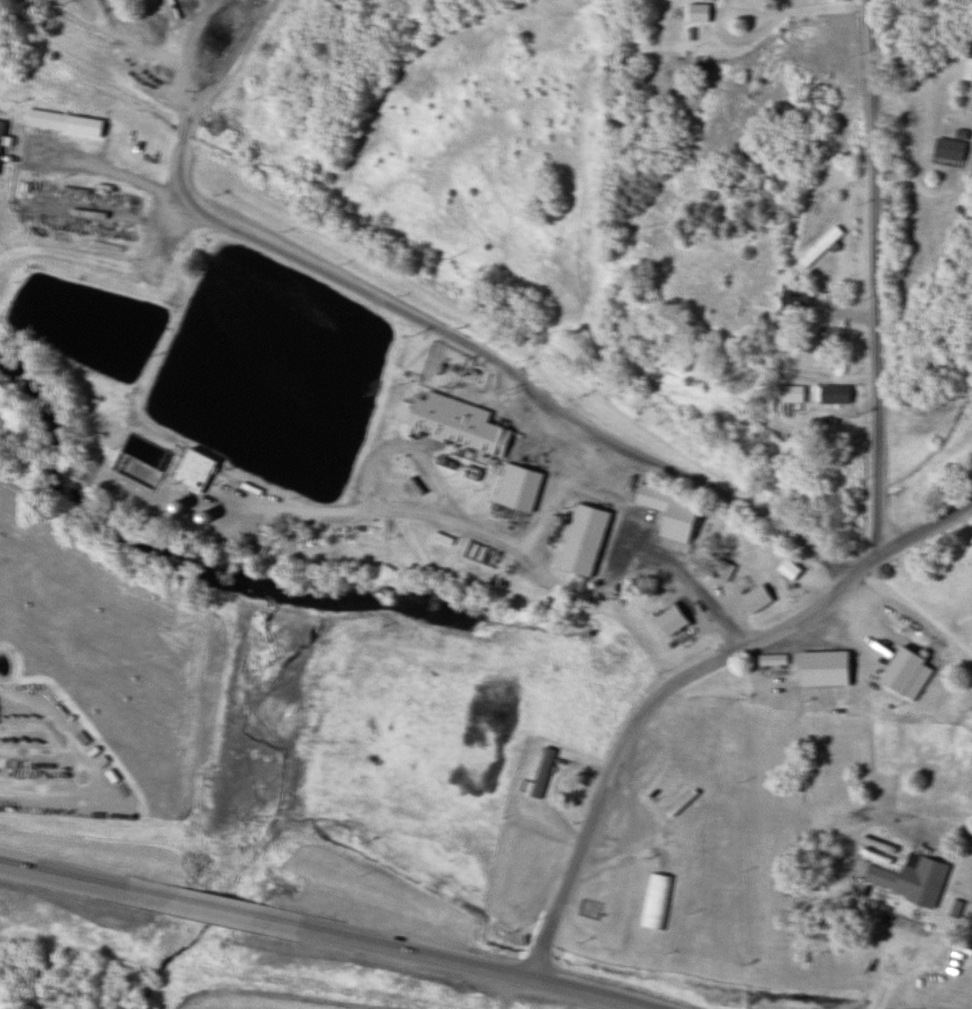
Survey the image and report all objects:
road: (788, 12)
building: (967, 65)
building: (61, 124)
building: (3, 138)
building: (948, 149)
road: (907, 154)
road: (101, 168)
building: (818, 246)
road: (874, 275)
building: (793, 296)
building: (829, 334)
road: (519, 380)
building: (790, 393)
building: (831, 393)
building: (454, 423)
building: (192, 470)
building: (514, 488)
building: (173, 506)
building: (667, 511)
road: (930, 525)
building: (580, 540)
building: (719, 569)
building: (754, 598)
building: (822, 668)
road: (645, 709)
building: (540, 773)
building: (901, 877)
building: (655, 901)
road: (323, 934)
crop: (299, 1005)

